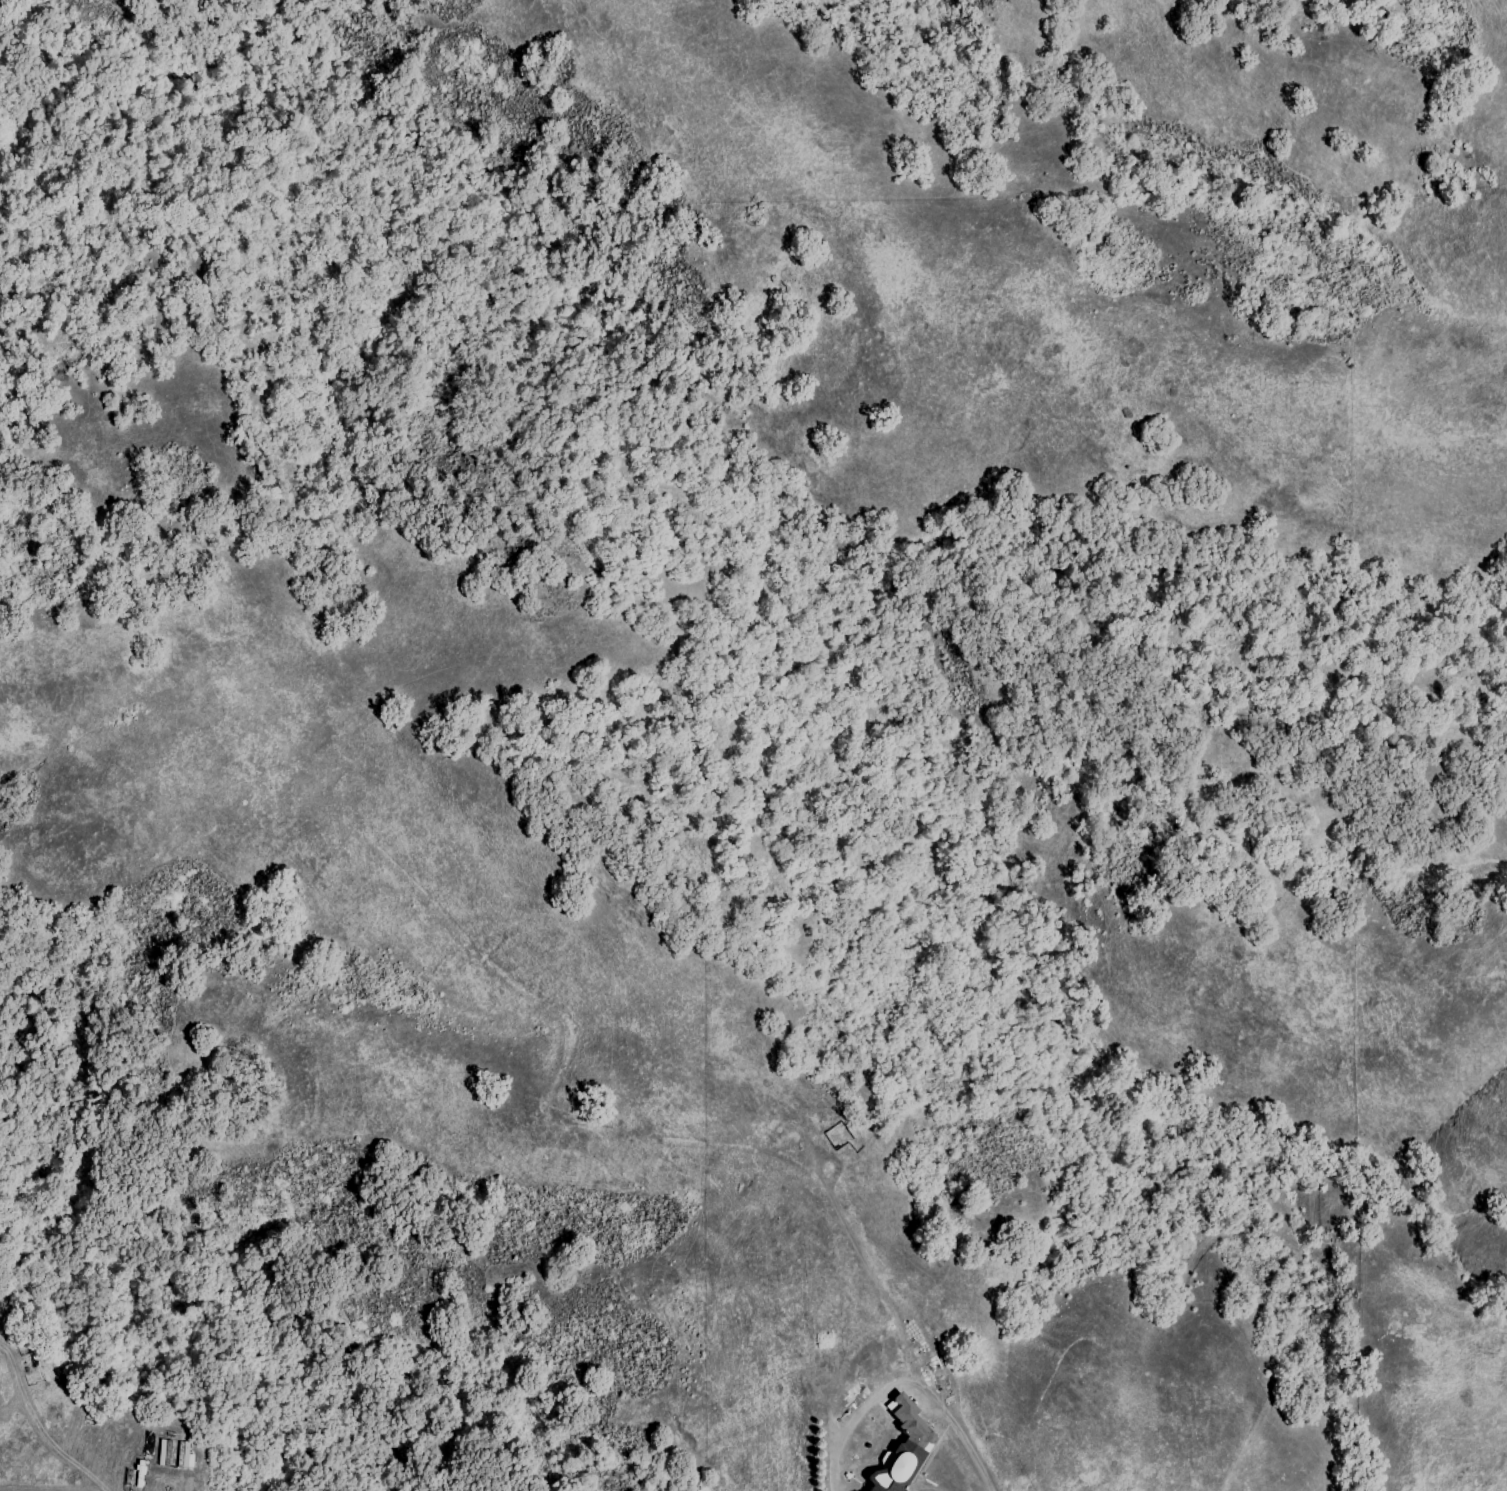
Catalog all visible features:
road: (904, 1382)
building: (909, 1444)
building: (168, 1453)
building: (190, 1453)

